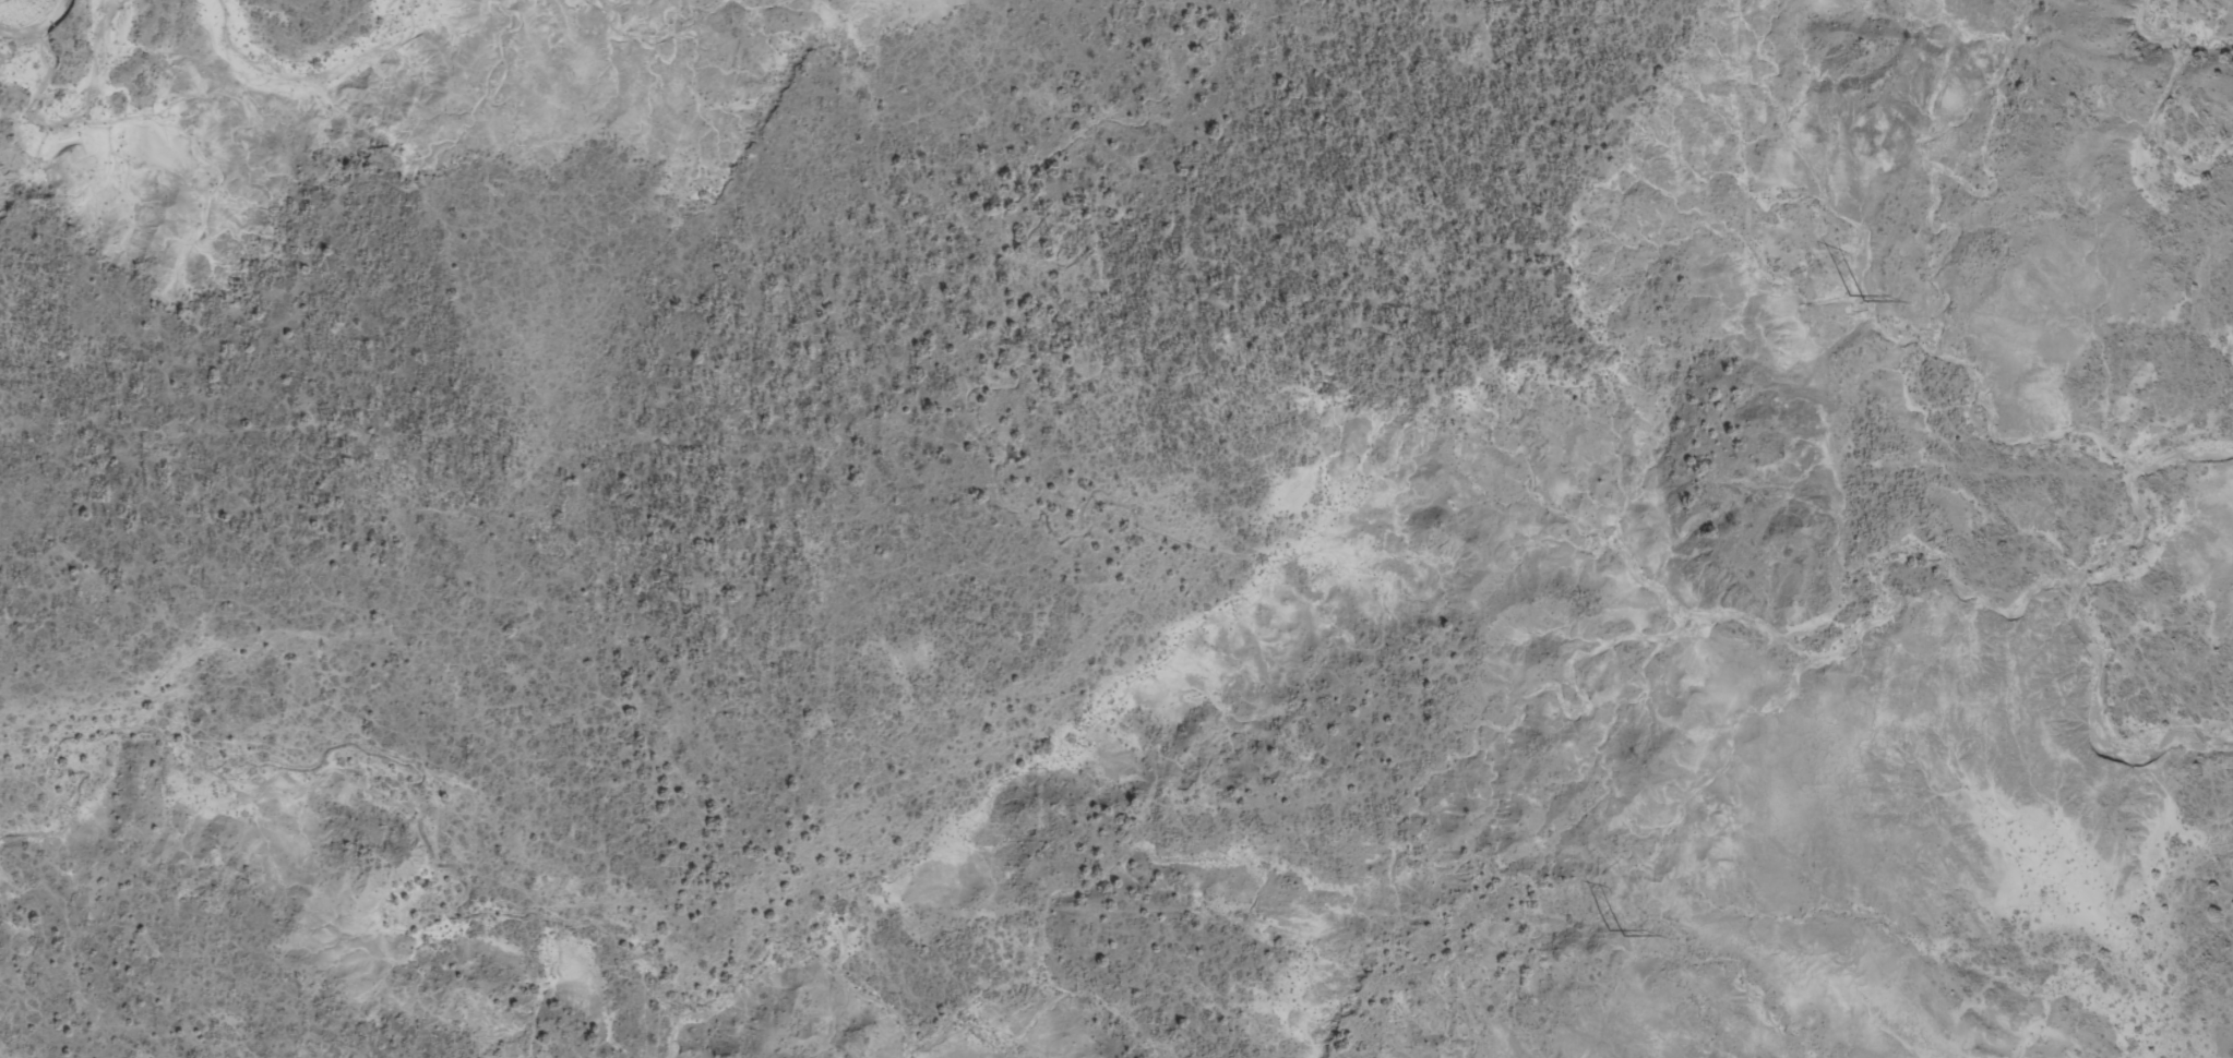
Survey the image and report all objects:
power tower: (1855, 298)
power tower: (1614, 933)

